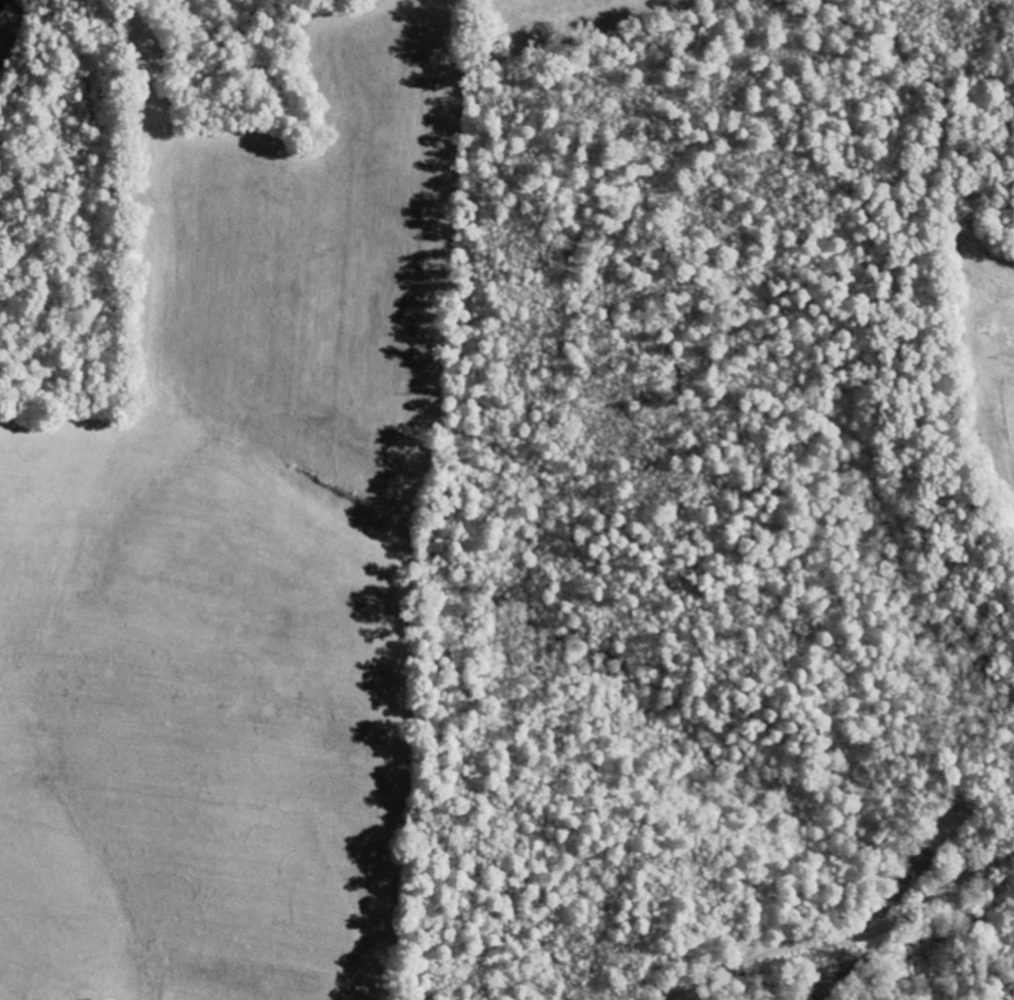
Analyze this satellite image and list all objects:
road: (841, 940)

